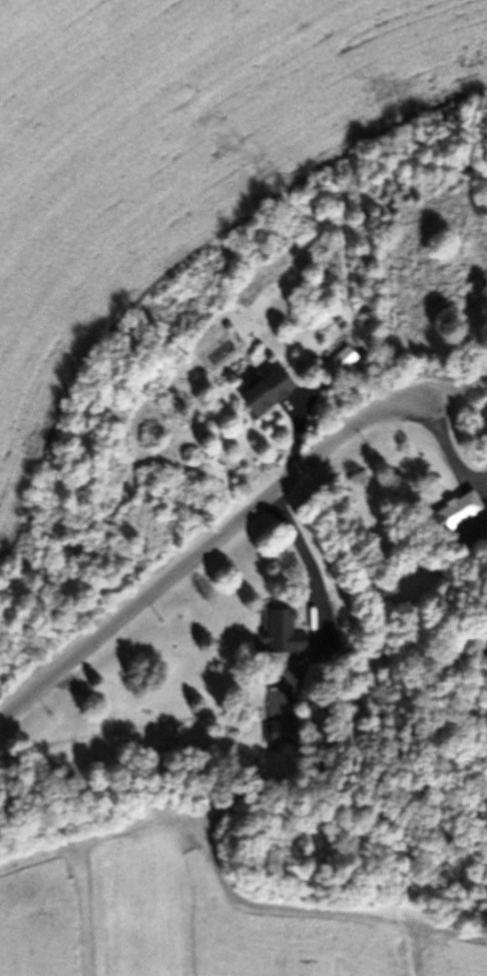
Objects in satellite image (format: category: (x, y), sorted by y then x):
building: (262, 393)
building: (480, 512)
road: (206, 548)
building: (280, 628)

